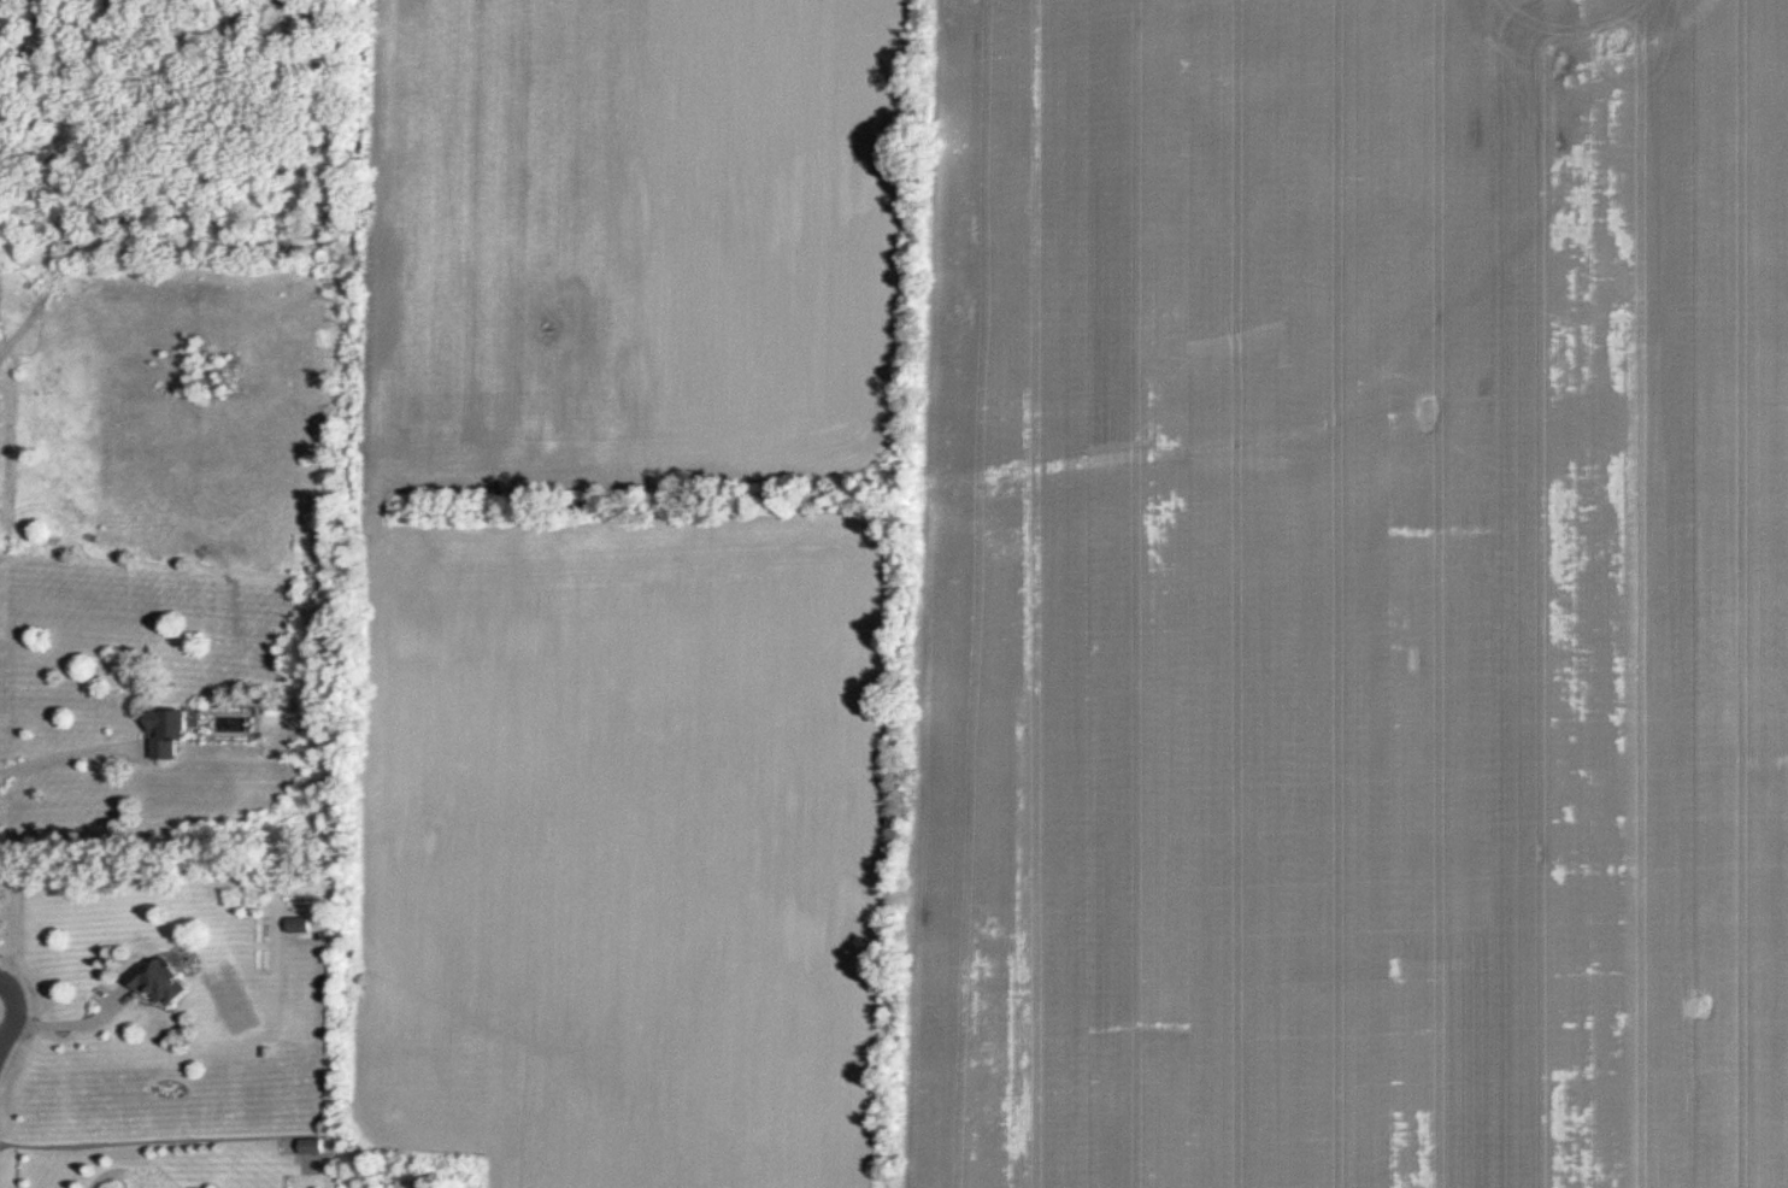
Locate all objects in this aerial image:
building: (177, 733)
road: (57, 746)
building: (302, 924)
building: (164, 981)
road: (66, 1024)
building: (316, 1147)

